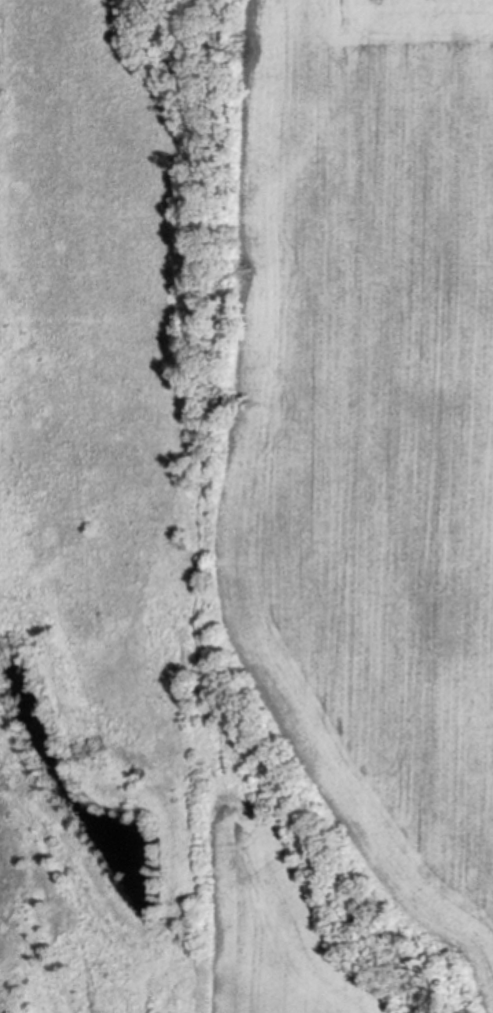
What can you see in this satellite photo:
crop: (365, 429)
crop: (272, 936)

